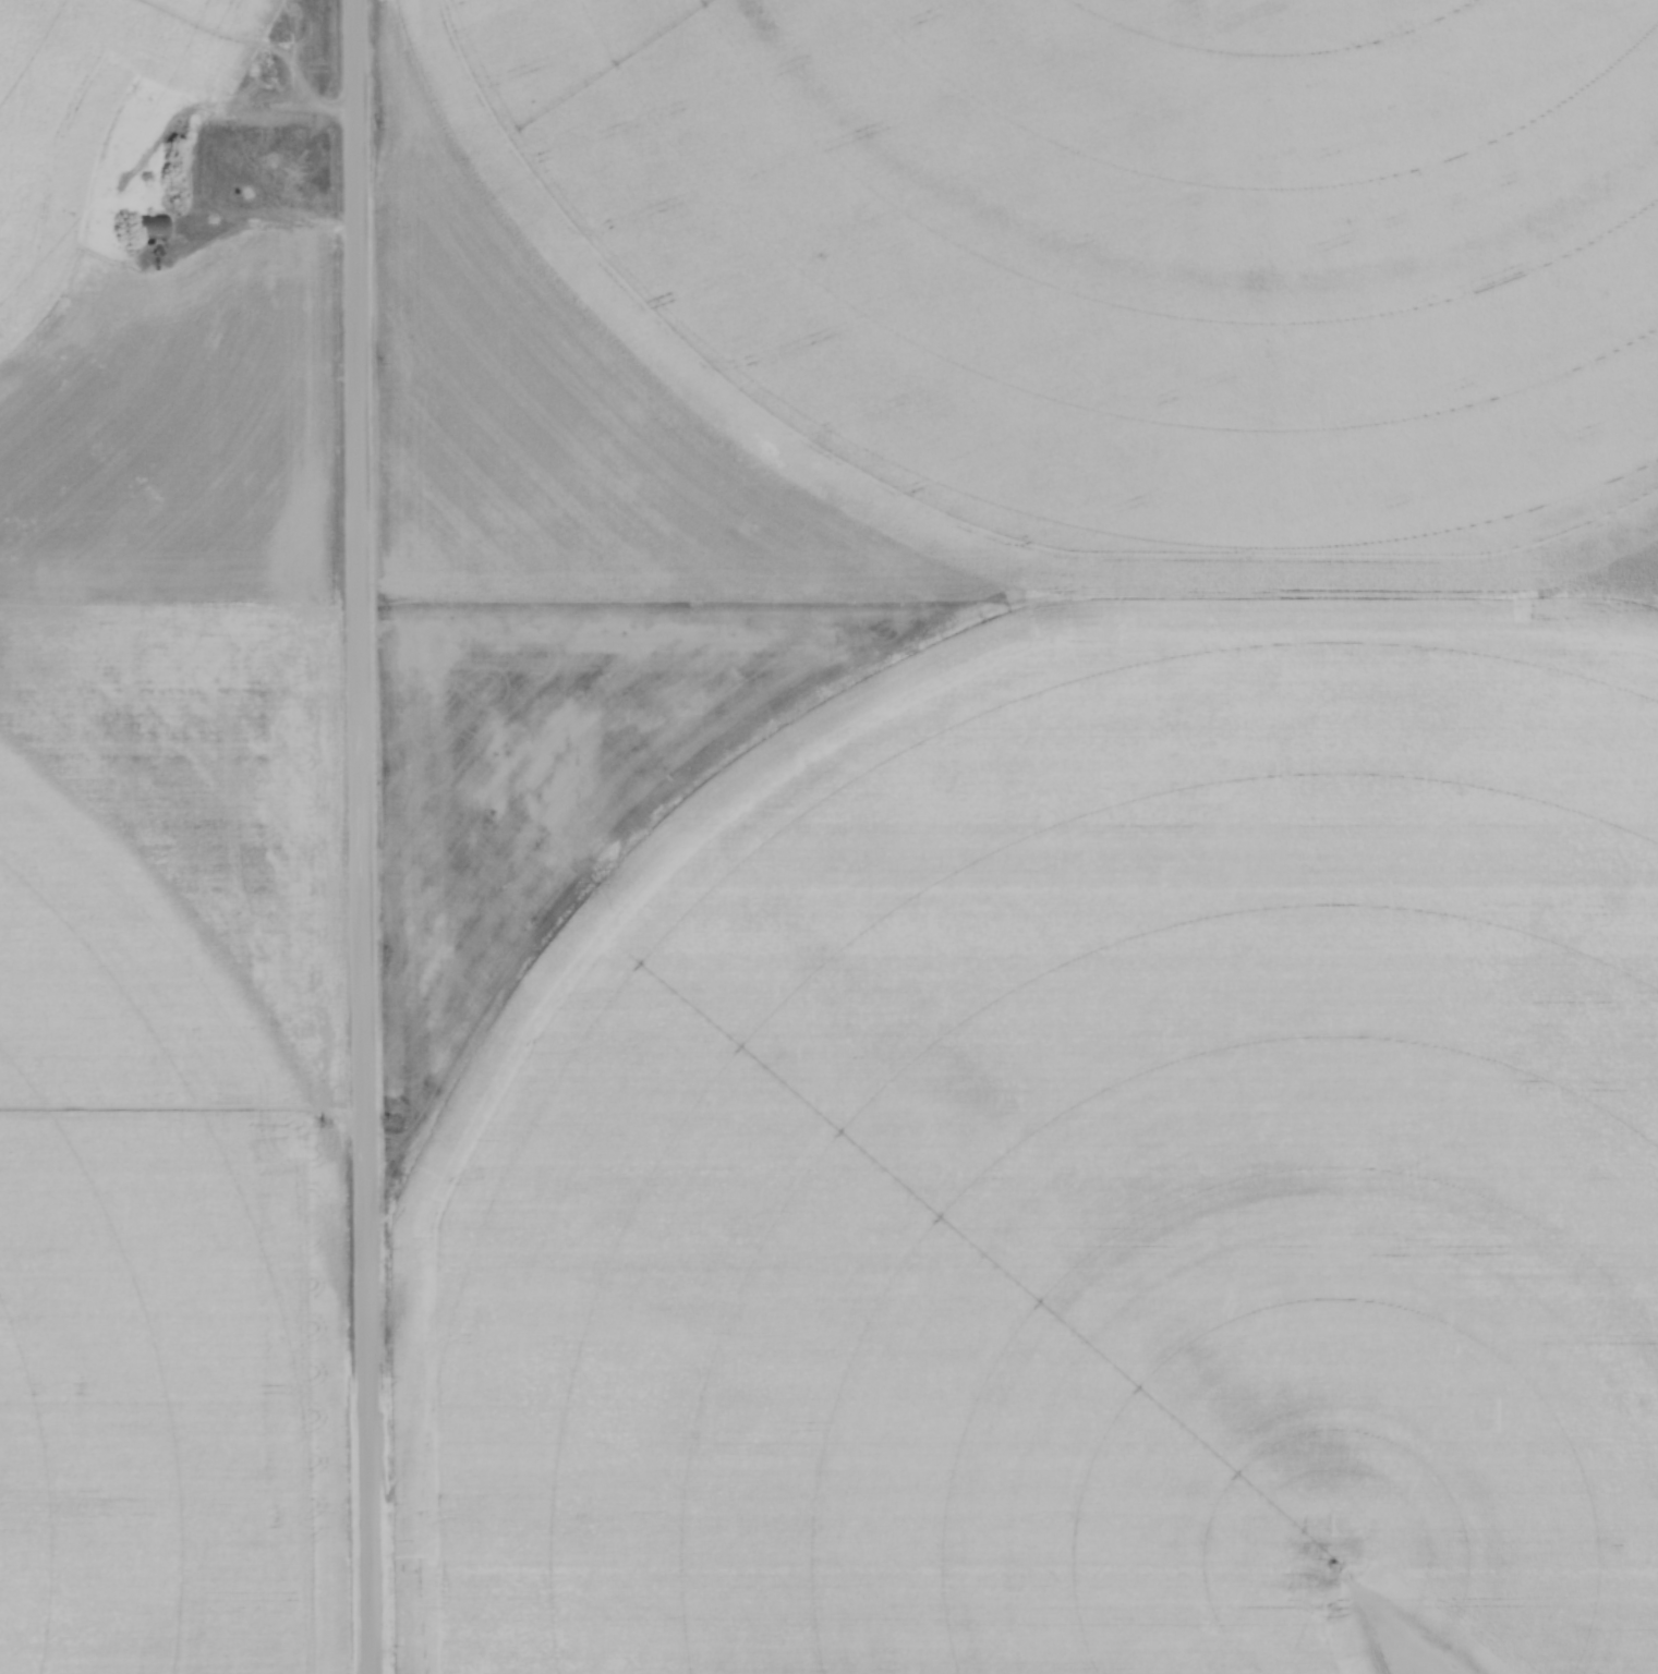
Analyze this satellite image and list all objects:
road: (274, 225)
building: (148, 228)
road: (361, 837)
building: (639, 1505)
building: (650, 1589)

